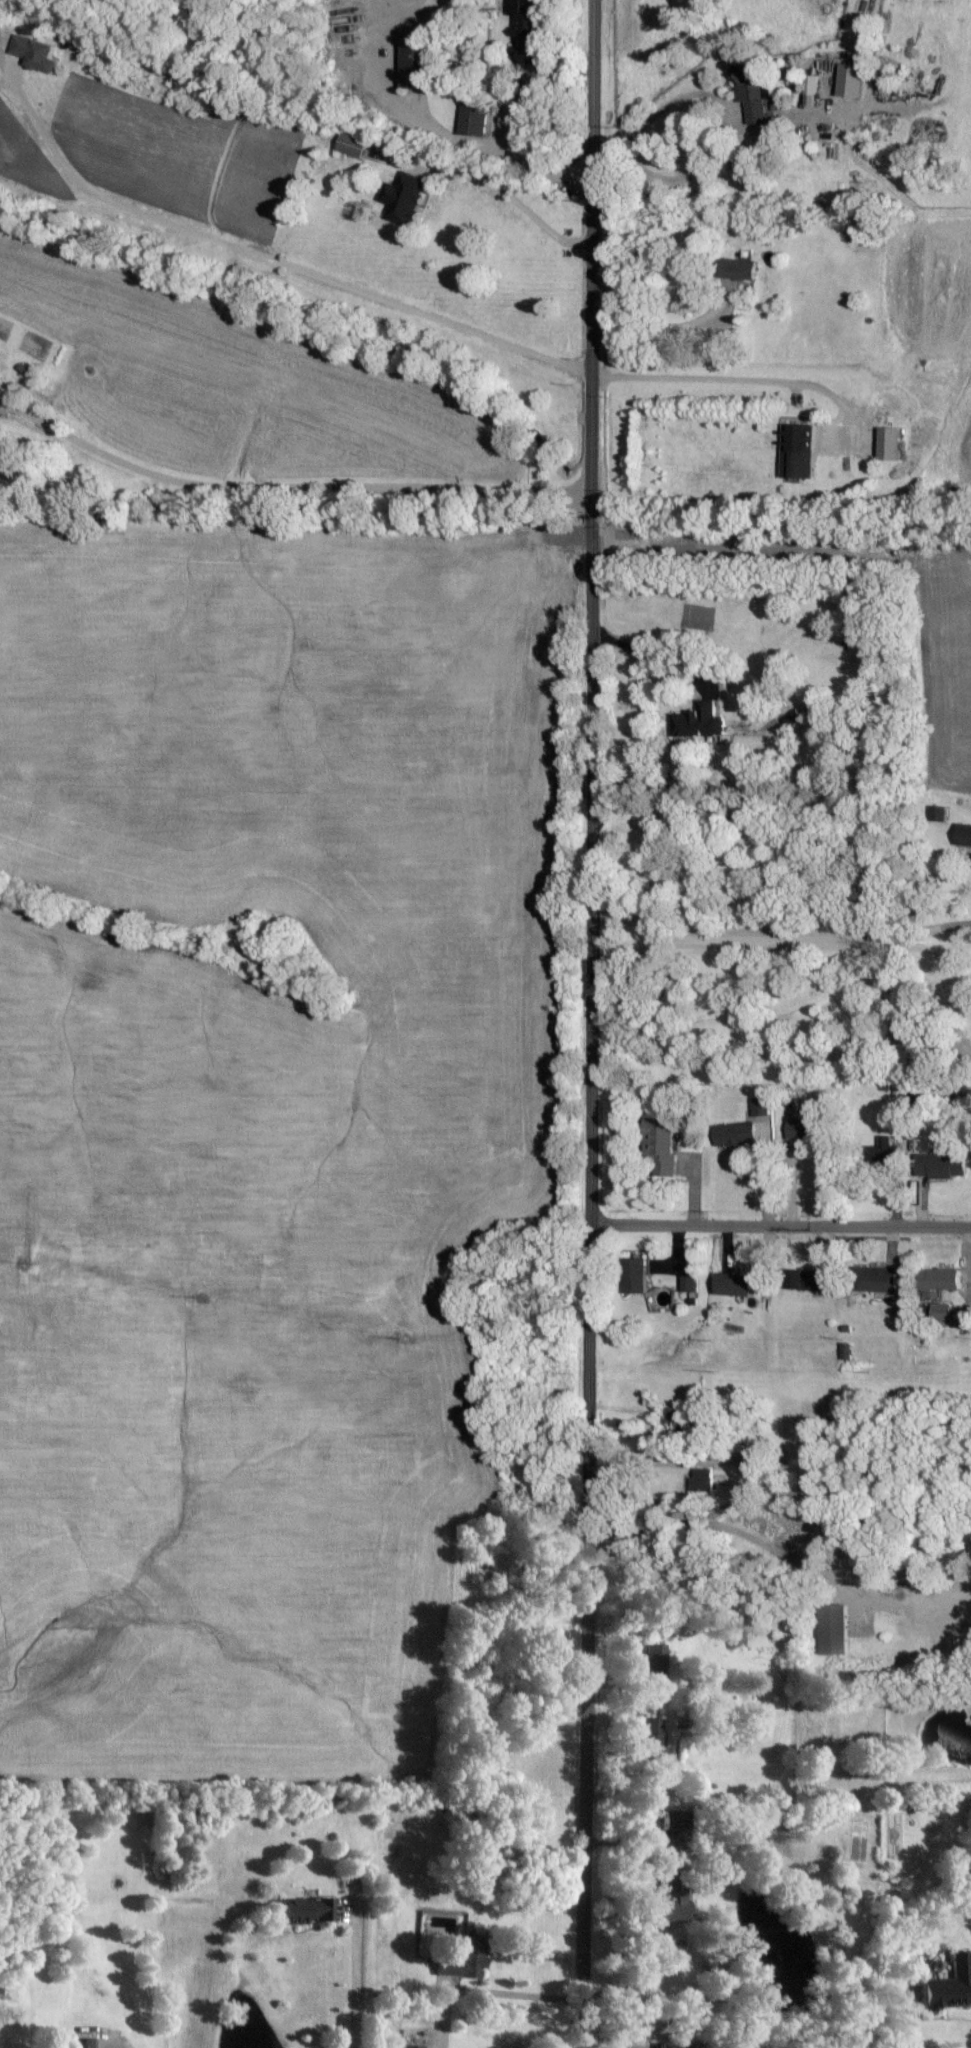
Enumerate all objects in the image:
building: (525, 38)
building: (35, 52)
building: (416, 58)
building: (851, 78)
road: (530, 80)
building: (811, 88)
road: (726, 110)
building: (474, 118)
road: (436, 129)
building: (355, 144)
building: (404, 197)
road: (511, 198)
road: (276, 261)
building: (738, 268)
road: (674, 325)
road: (737, 378)
building: (890, 443)
building: (798, 450)
road: (291, 486)
road: (655, 658)
building: (698, 721)
building: (939, 813)
building: (964, 834)
road: (783, 935)
road: (749, 946)
road: (902, 1016)
road: (599, 1024)
building: (761, 1107)
building: (803, 1129)
building: (736, 1133)
building: (660, 1143)
building: (883, 1152)
building: (941, 1165)
road: (783, 1232)
building: (635, 1275)
building: (876, 1279)
building: (940, 1279)
building: (806, 1280)
building: (734, 1284)
building: (690, 1285)
building: (942, 1311)
building: (848, 1354)
building: (699, 1478)
building: (834, 1628)
building: (655, 1666)
building: (652, 1738)
building: (669, 1819)
building: (668, 1896)
building: (303, 1910)
building: (464, 1959)
road: (354, 1976)
building: (947, 1985)
road: (492, 1999)
building: (84, 2042)
building: (412, 2045)
road: (104, 2047)
building: (677, 2047)

